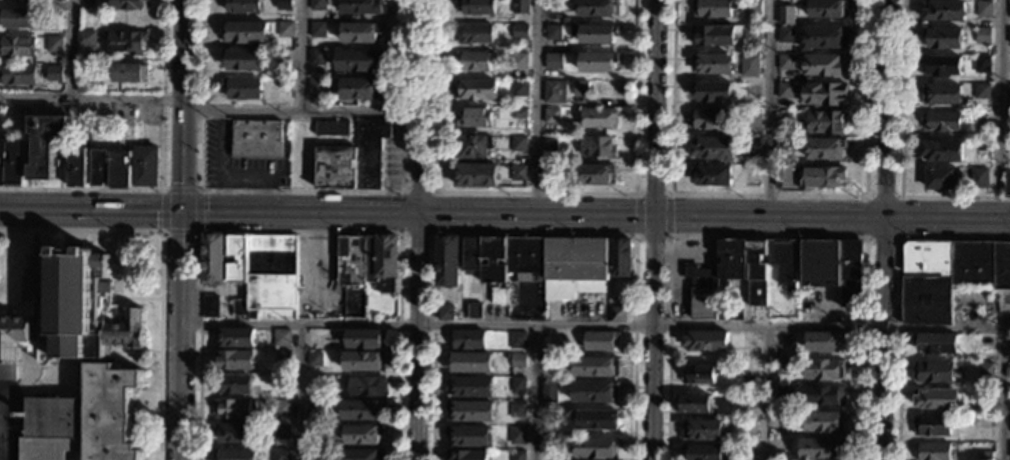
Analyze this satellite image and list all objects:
building: (61, 0)
building: (22, 1)
building: (126, 5)
building: (285, 5)
building: (319, 5)
building: (244, 6)
building: (555, 6)
building: (362, 7)
building: (477, 7)
building: (520, 7)
building: (753, 7)
building: (597, 8)
building: (714, 8)
building: (827, 9)
building: (984, 9)
building: (1009, 9)
building: (943, 10)
building: (786, 16)
building: (16, 19)
building: (565, 21)
building: (287, 29)
building: (318, 29)
building: (520, 31)
building: (245, 32)
building: (553, 32)
building: (361, 33)
building: (476, 34)
building: (594, 34)
building: (752, 34)
building: (785, 34)
building: (982, 35)
building: (713, 36)
building: (1009, 37)
building: (824, 38)
building: (944, 38)
building: (86, 39)
building: (126, 43)
building: (54, 44)
building: (18, 46)
road: (71, 49)
road: (303, 55)
building: (318, 57)
building: (284, 58)
building: (245, 60)
building: (358, 61)
building: (474, 61)
building: (519, 61)
building: (554, 61)
building: (785, 62)
building: (598, 63)
building: (713, 64)
building: (981, 64)
building: (824, 65)
building: (941, 66)
building: (748, 68)
building: (129, 73)
building: (17, 74)
building: (54, 74)
building: (284, 83)
building: (84, 84)
building: (99, 85)
building: (581, 87)
building: (317, 88)
building: (520, 88)
building: (242, 89)
building: (359, 89)
building: (477, 89)
building: (785, 90)
building: (753, 91)
building: (981, 91)
building: (555, 92)
building: (712, 92)
building: (1008, 92)
building: (824, 94)
building: (940, 94)
road: (92, 98)
road: (536, 106)
road: (769, 107)
road: (657, 108)
road: (1000, 108)
road: (304, 111)
building: (518, 112)
building: (552, 116)
building: (475, 118)
building: (599, 118)
building: (752, 118)
building: (785, 118)
building: (708, 119)
building: (981, 119)
building: (1008, 119)
building: (78, 120)
building: (826, 122)
building: (941, 122)
building: (984, 136)
building: (256, 138)
building: (46, 144)
building: (520, 144)
building: (551, 144)
building: (474, 147)
building: (751, 147)
building: (598, 148)
building: (713, 148)
building: (784, 148)
building: (824, 149)
building: (1008, 149)
building: (2, 150)
building: (941, 151)
road: (900, 152)
building: (339, 158)
road: (222, 160)
building: (15, 163)
road: (885, 164)
building: (145, 166)
building: (78, 167)
building: (99, 167)
building: (119, 169)
building: (518, 172)
building: (552, 172)
building: (593, 174)
road: (161, 175)
building: (711, 175)
building: (2, 176)
building: (477, 176)
road: (252, 177)
building: (783, 177)
building: (979, 177)
building: (821, 178)
building: (940, 179)
building: (1007, 182)
road: (300, 191)
road: (535, 192)
road: (652, 193)
road: (768, 194)
traffic signals: (181, 210)
road: (328, 210)
road: (635, 213)
road: (669, 213)
road: (770, 216)
road: (947, 216)
road: (181, 229)
road: (299, 230)
road: (423, 230)
road: (197, 232)
road: (435, 232)
road: (534, 233)
road: (651, 234)
road: (765, 236)
road: (900, 238)
building: (212, 258)
building: (237, 258)
building: (621, 258)
building: (368, 261)
building: (447, 261)
building: (539, 264)
road: (159, 266)
building: (834, 268)
building: (742, 273)
building: (948, 276)
building: (270, 278)
road: (898, 294)
building: (210, 307)
building: (474, 311)
building: (446, 313)
building: (730, 313)
building: (72, 314)
building: (617, 315)
road: (532, 325)
road: (946, 329)
building: (235, 338)
building: (281, 338)
road: (654, 338)
building: (365, 339)
building: (469, 339)
building: (517, 340)
building: (750, 340)
building: (784, 340)
building: (315, 341)
building: (600, 341)
building: (706, 341)
building: (824, 341)
building: (548, 343)
building: (983, 343)
building: (936, 344)
building: (283, 358)
building: (314, 359)
building: (235, 360)
building: (517, 360)
building: (364, 362)
building: (470, 362)
building: (549, 365)
building: (595, 367)
building: (783, 367)
building: (824, 370)
building: (985, 371)
building: (933, 372)
building: (700, 374)
building: (518, 384)
building: (233, 385)
building: (366, 386)
building: (470, 387)
building: (549, 391)
road: (298, 392)
building: (594, 392)
road: (534, 393)
road: (767, 393)
building: (783, 394)
road: (881, 394)
road: (1000, 395)
building: (824, 396)
building: (936, 399)
building: (692, 404)
building: (282, 408)
building: (314, 408)
building: (232, 409)
building: (516, 409)
building: (362, 410)
building: (470, 411)
parking lot: (11, 419)
building: (84, 420)
building: (597, 420)
building: (824, 422)
building: (932, 425)
building: (749, 428)
building: (702, 430)
building: (282, 432)
building: (313, 432)
building: (234, 433)
building: (363, 434)
building: (517, 435)
building: (468, 436)
building: (781, 445)
building: (549, 446)
building: (595, 448)
building: (820, 449)
building: (933, 451)
building: (704, 452)
building: (234, 454)
building: (280, 454)
building: (313, 455)
building: (364, 455)
building: (467, 455)
building: (518, 455)
building: (984, 456)

